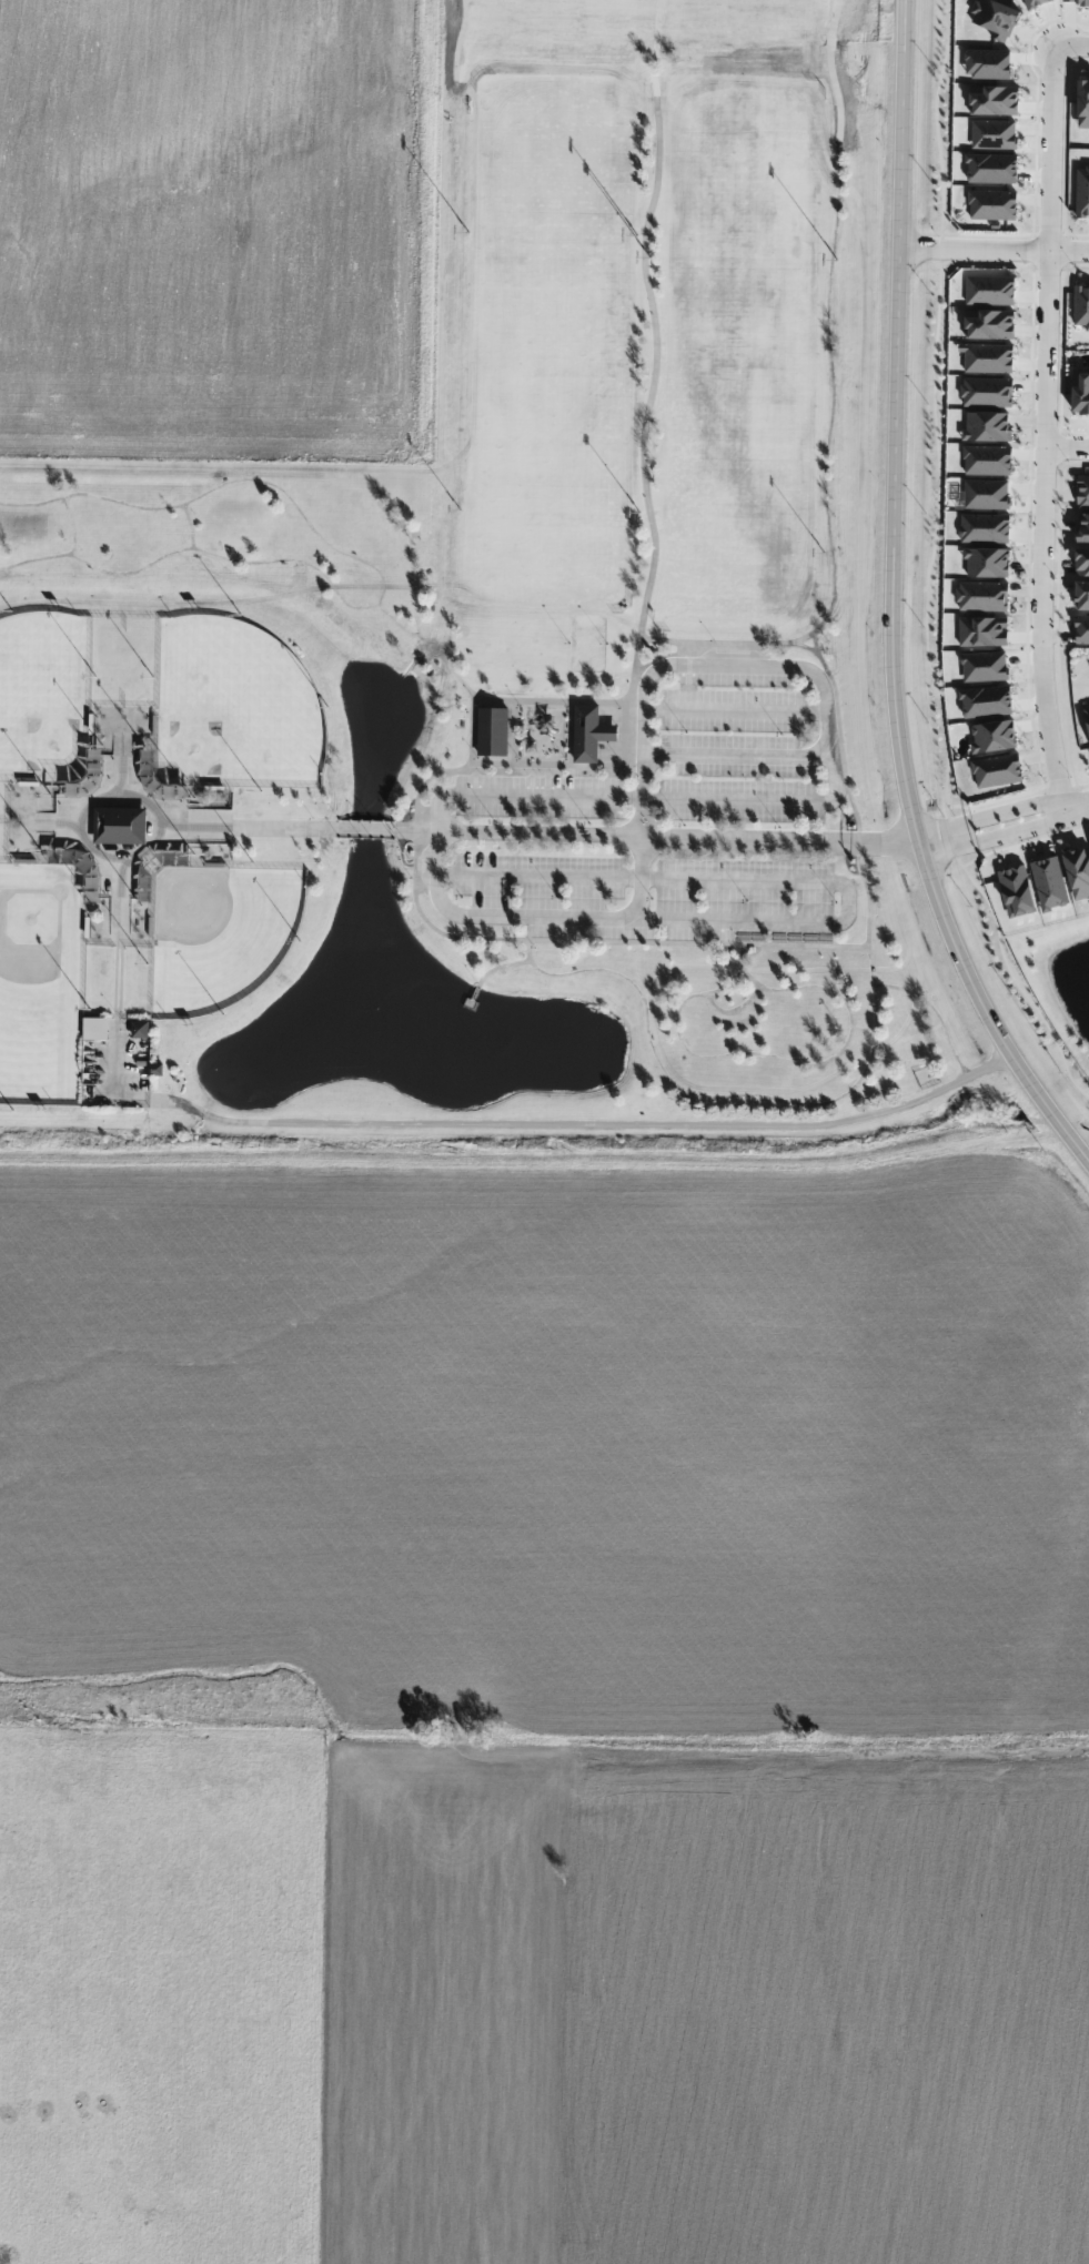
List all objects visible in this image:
road: (1075, 46)
road: (664, 74)
road: (994, 251)
park: (558, 271)
park: (557, 324)
road: (829, 350)
park: (555, 390)
park: (740, 397)
road: (1041, 427)
road: (1065, 449)
park: (554, 472)
park: (737, 478)
park: (552, 553)
park: (734, 559)
road: (891, 605)
park: (508, 683)
road: (470, 688)
park: (43, 697)
park: (234, 707)
road: (734, 714)
building: (488, 730)
road: (828, 731)
building: (585, 732)
road: (840, 732)
road: (737, 759)
road: (1004, 825)
building: (115, 826)
road: (538, 873)
road: (641, 898)
park: (219, 934)
road: (516, 940)
road: (495, 971)
park: (41, 982)
road: (735, 1010)
road: (947, 1035)
road: (779, 1058)
road: (762, 1096)
road: (596, 1123)

